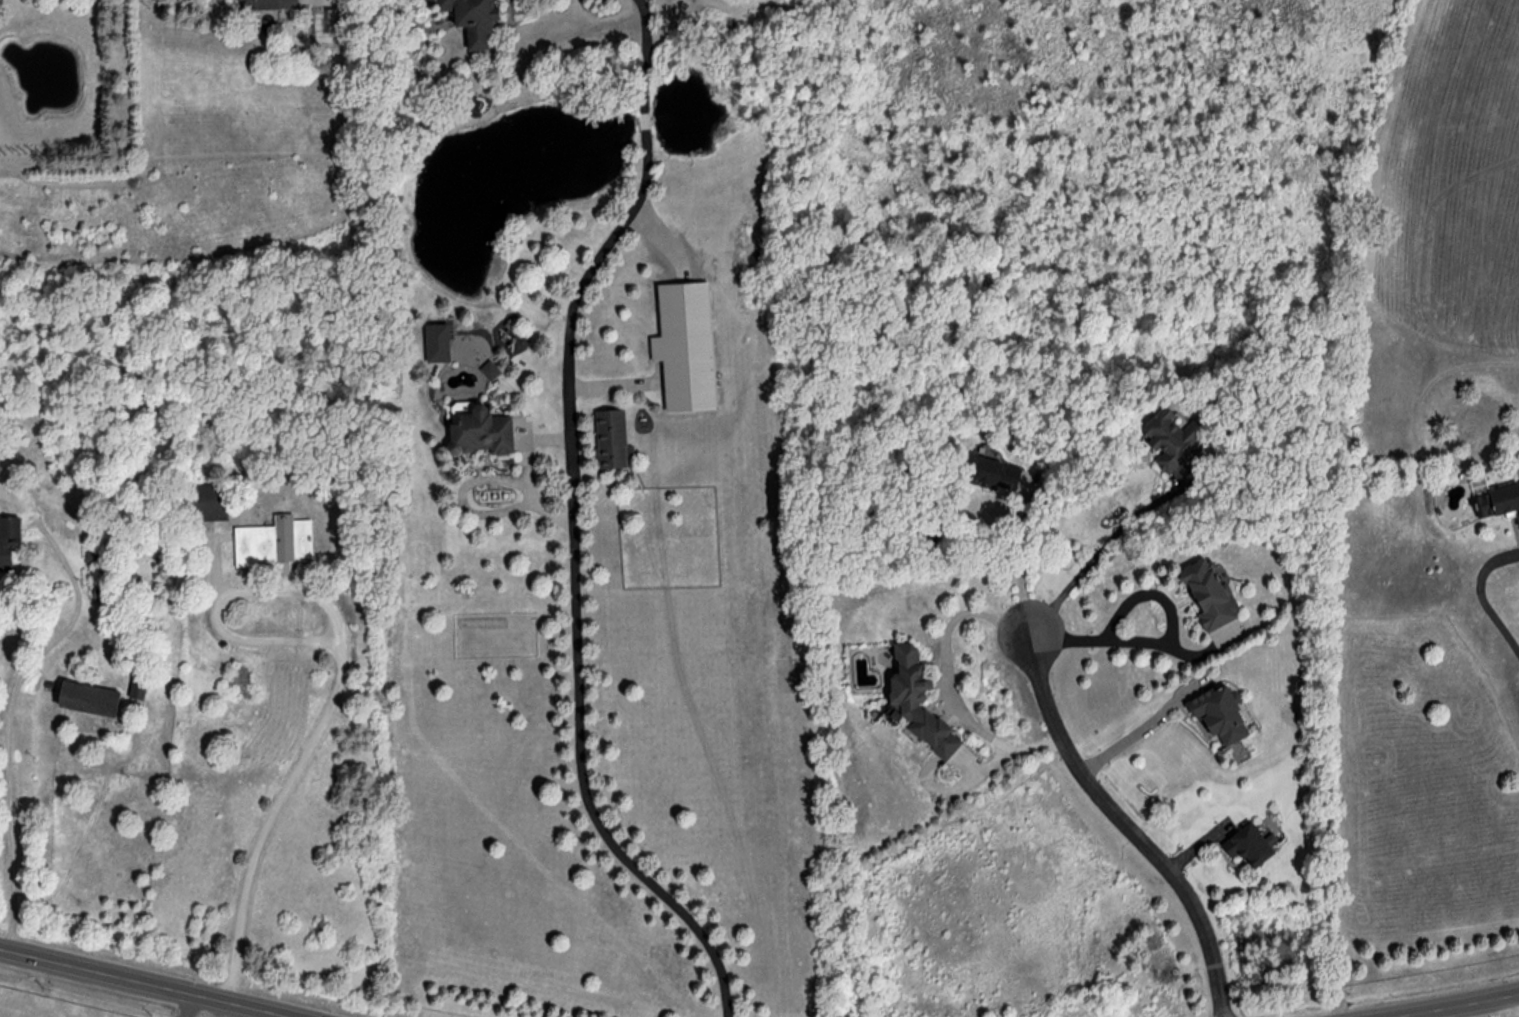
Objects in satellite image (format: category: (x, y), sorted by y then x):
building: (269, 4)
building: (476, 19)
building: (688, 345)
building: (482, 430)
building: (1174, 436)
building: (613, 438)
building: (998, 473)
building: (1499, 500)
building: (211, 502)
road: (569, 523)
building: (10, 541)
building: (275, 541)
road: (1096, 554)
road: (1022, 562)
building: (105, 593)
building: (1214, 597)
road: (1479, 597)
road: (1165, 641)
road: (339, 676)
road: (945, 677)
building: (141, 683)
building: (93, 698)
building: (921, 700)
building: (1224, 714)
road: (1132, 734)
road: (12, 771)
road: (1131, 826)
building: (1253, 845)
road: (158, 980)
road: (195, 1004)
road: (1445, 1004)
road: (1513, 1005)
road: (311, 1016)

